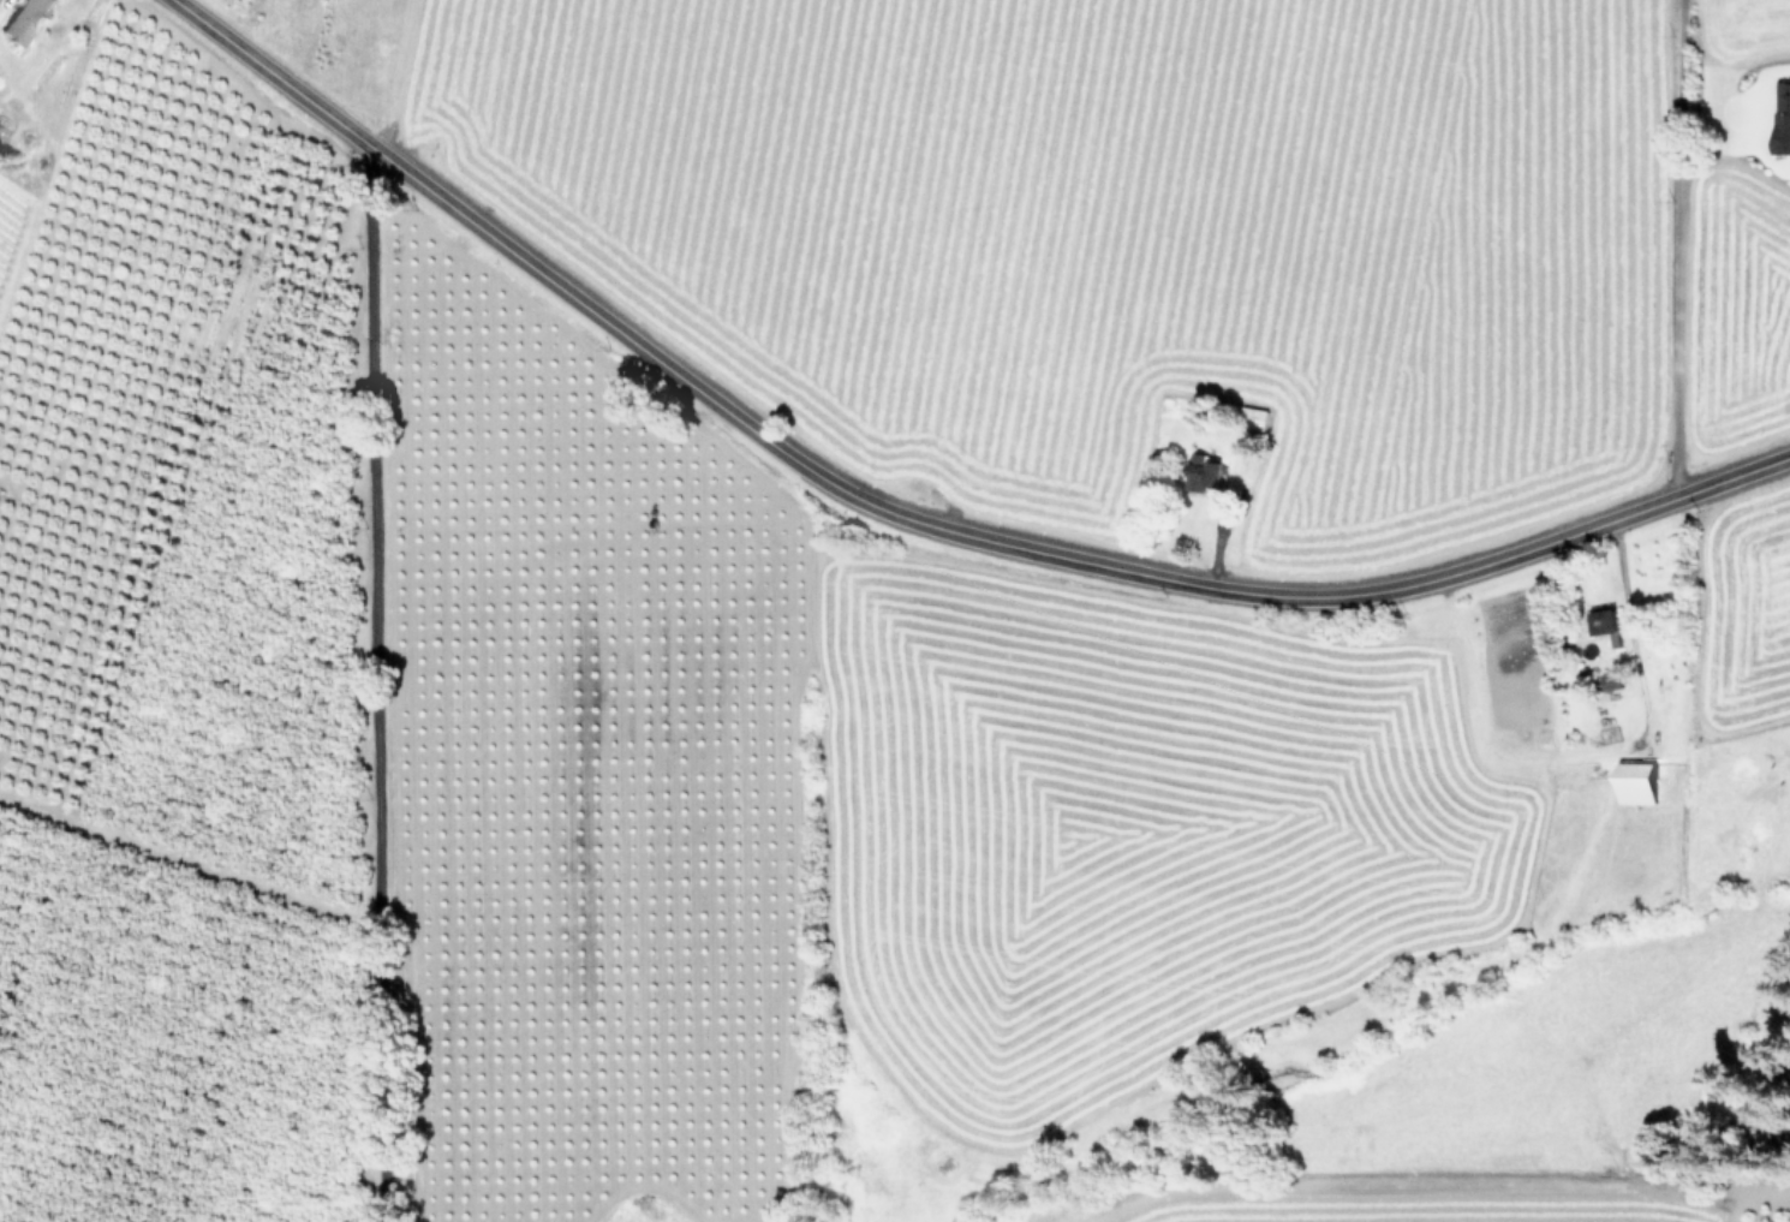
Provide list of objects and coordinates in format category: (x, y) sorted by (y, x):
building: (24, 19)
building: (1783, 117)
crop: (1160, 222)
road: (1673, 249)
building: (1258, 418)
building: (1204, 471)
road: (913, 519)
building: (1607, 622)
road: (372, 685)
building: (1639, 782)
crop: (1050, 853)

